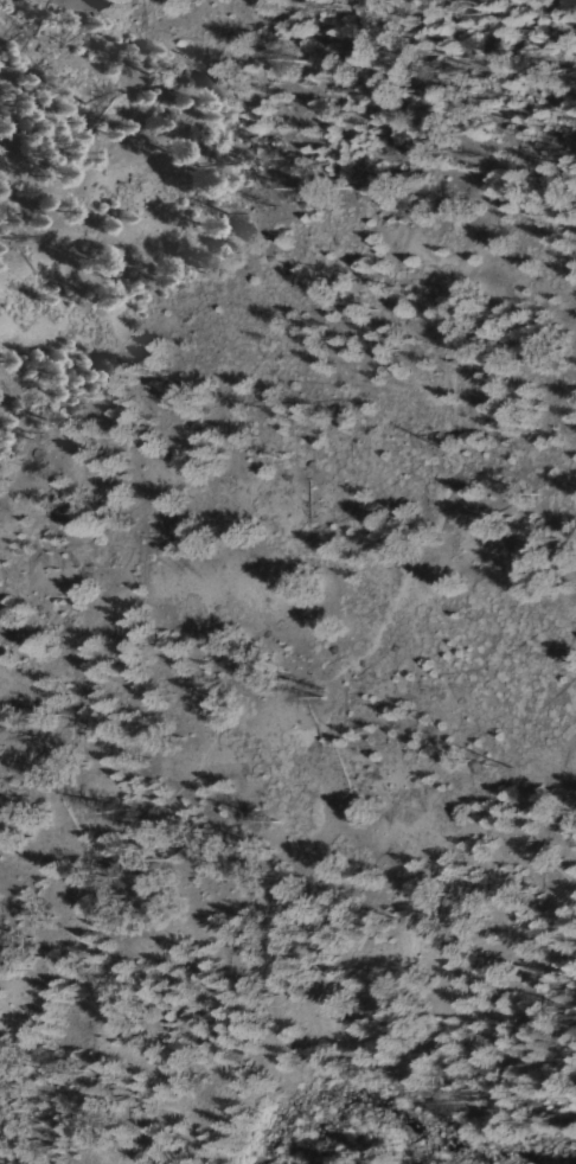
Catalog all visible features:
road: (384, 613)

